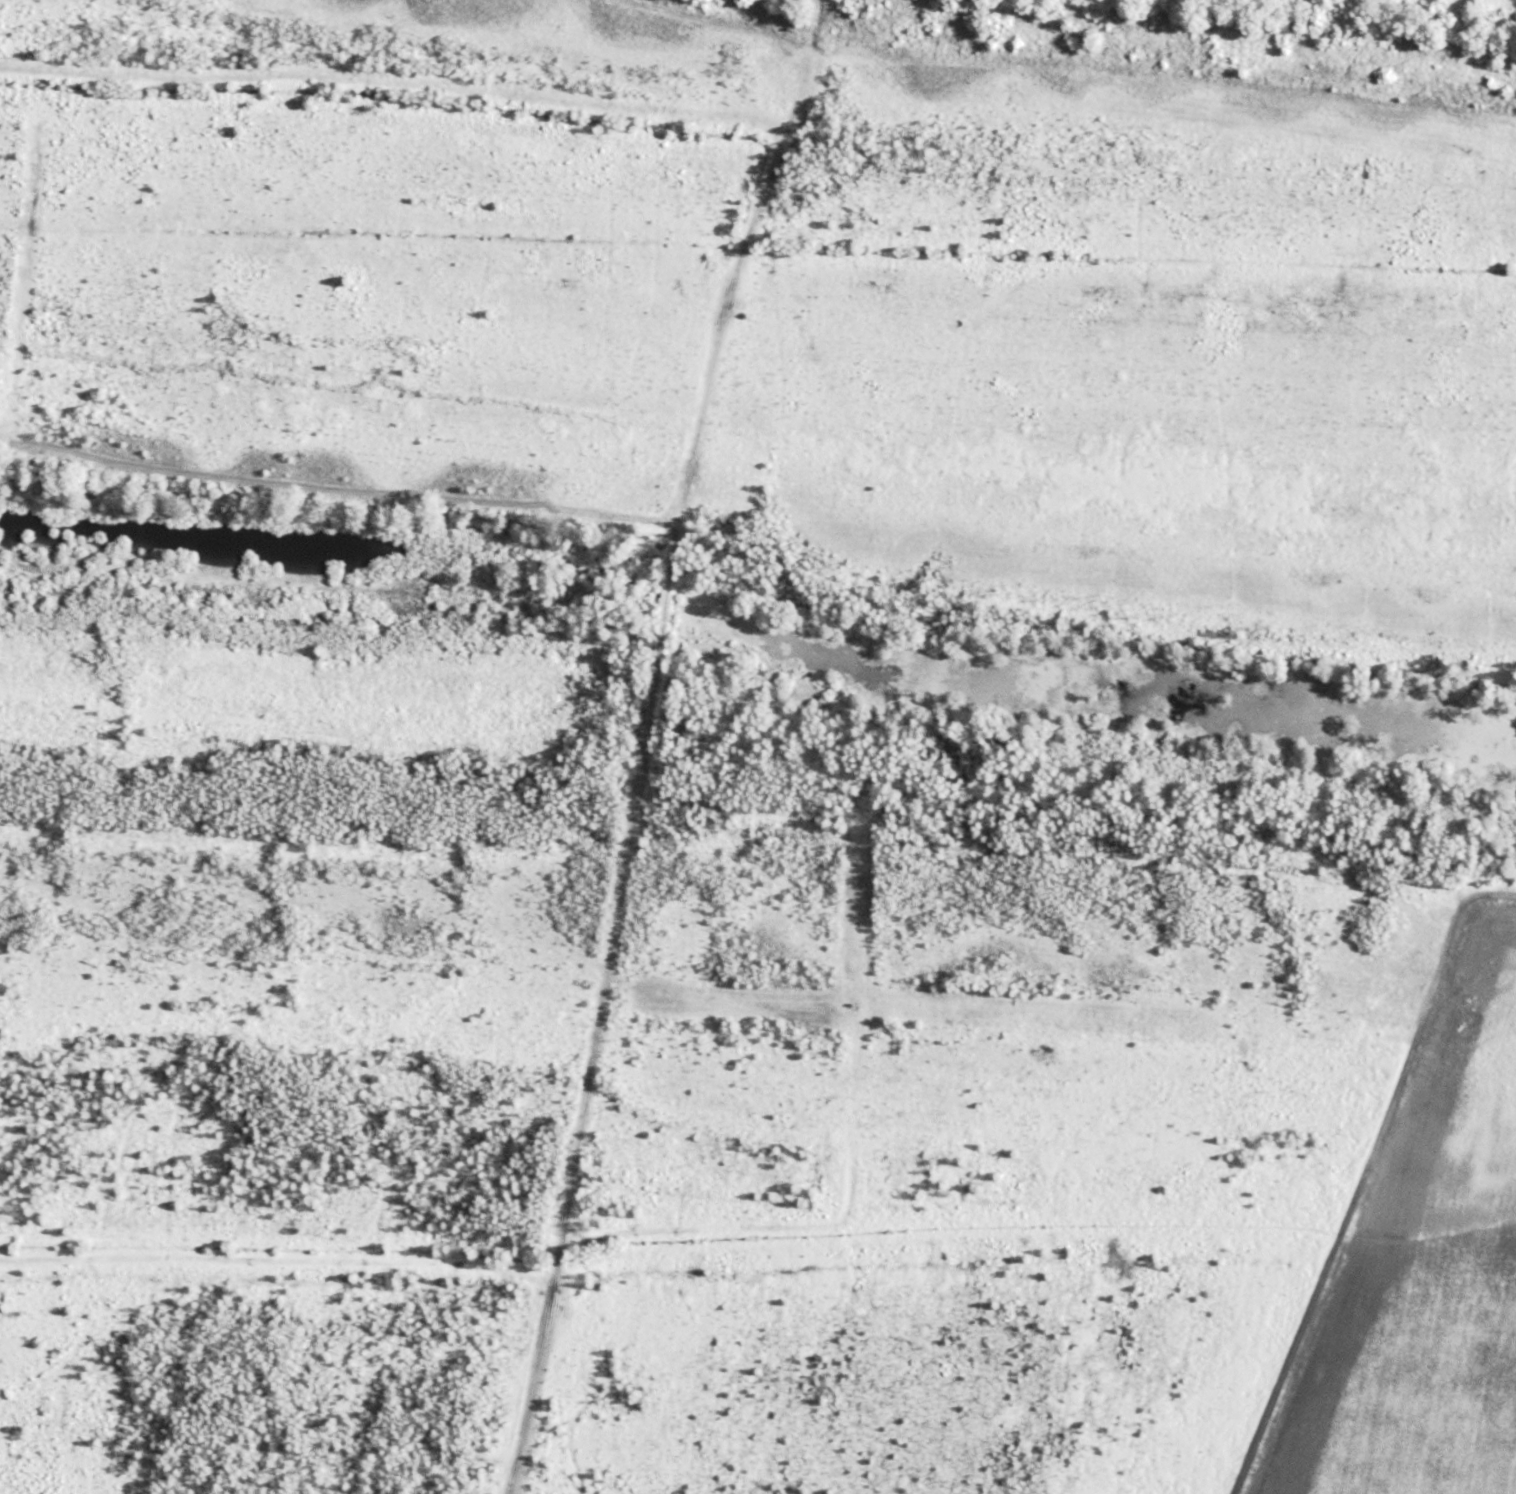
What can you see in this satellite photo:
road: (1214, 30)
road: (348, 401)
road: (641, 741)
road: (1360, 1180)

